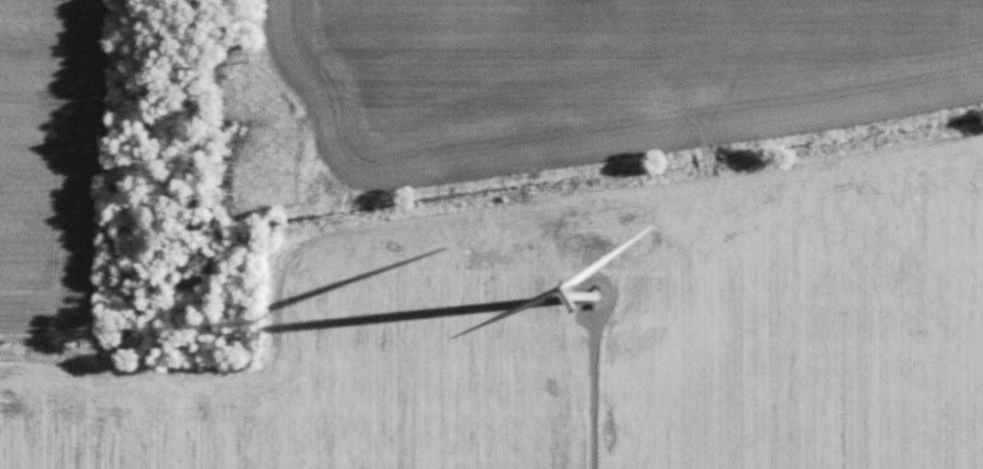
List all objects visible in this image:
wind turbine: (593, 297)
road: (583, 414)

